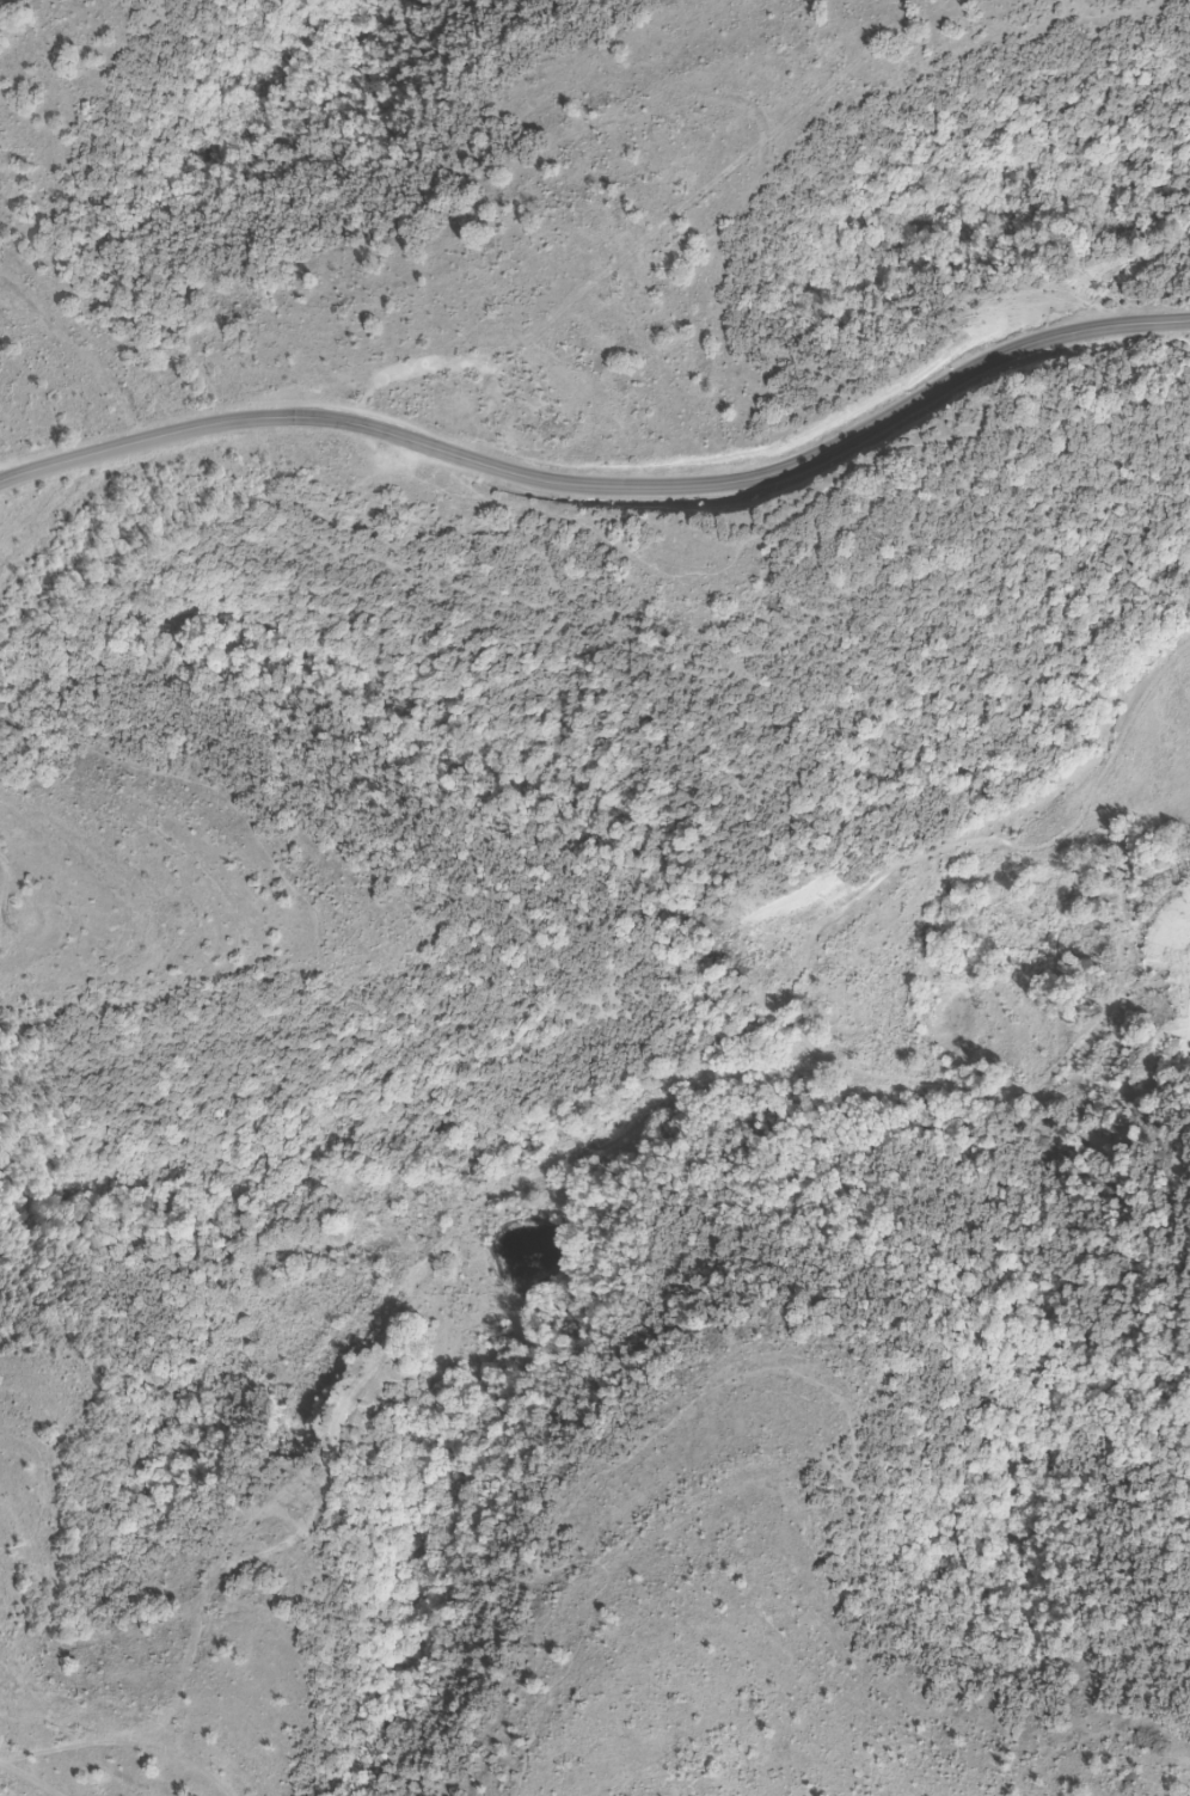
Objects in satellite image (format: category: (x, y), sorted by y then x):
road: (603, 489)

